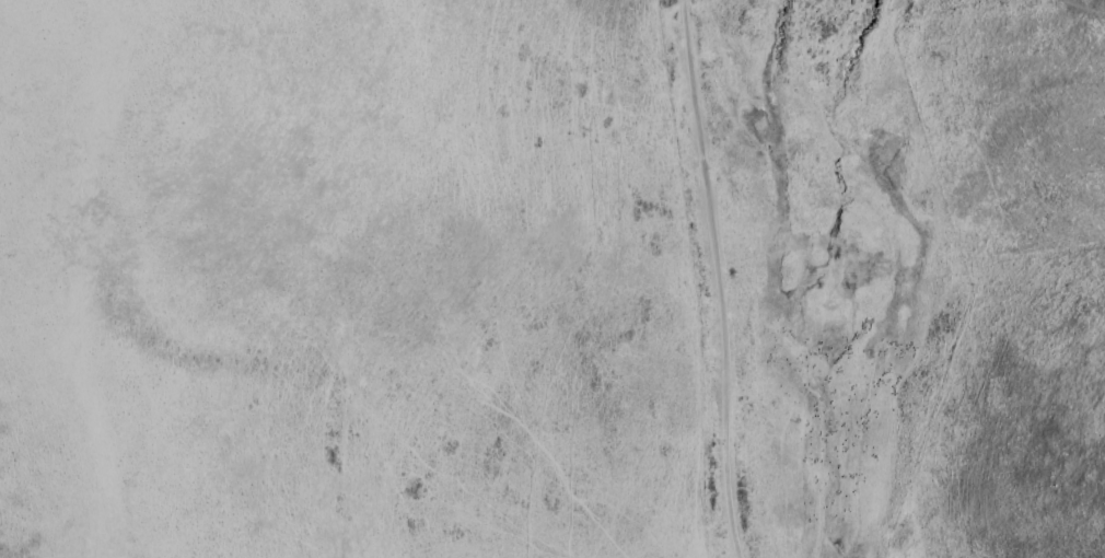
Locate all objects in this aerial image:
road: (717, 278)

